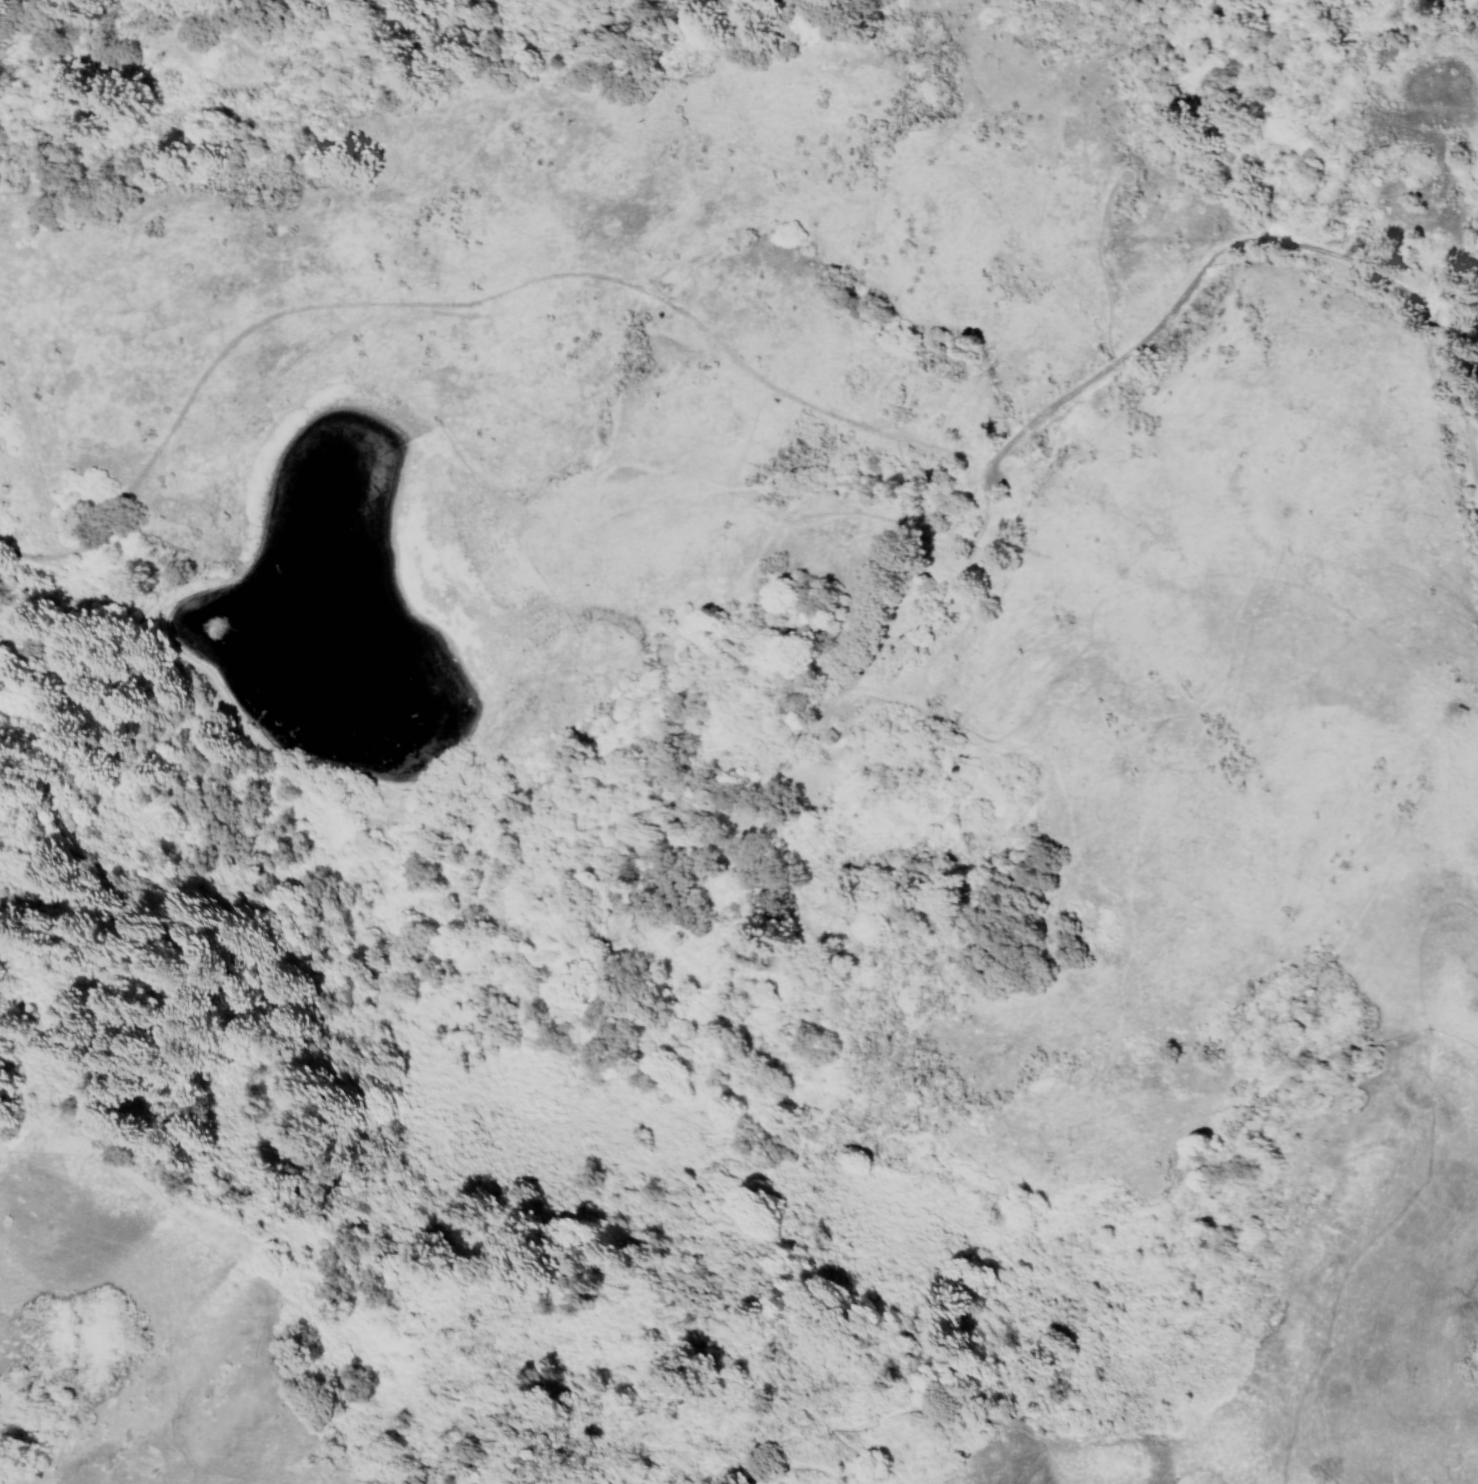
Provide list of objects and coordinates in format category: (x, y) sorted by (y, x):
road: (1129, 176)
road: (1353, 258)
road: (1100, 270)
road: (448, 292)
road: (1458, 314)
road: (1046, 409)
road: (970, 457)
road: (1012, 476)
road: (1053, 477)
road: (985, 505)
road: (877, 660)
road: (1421, 1188)
road: (858, 1427)
road: (1199, 1467)
road: (1087, 1476)

